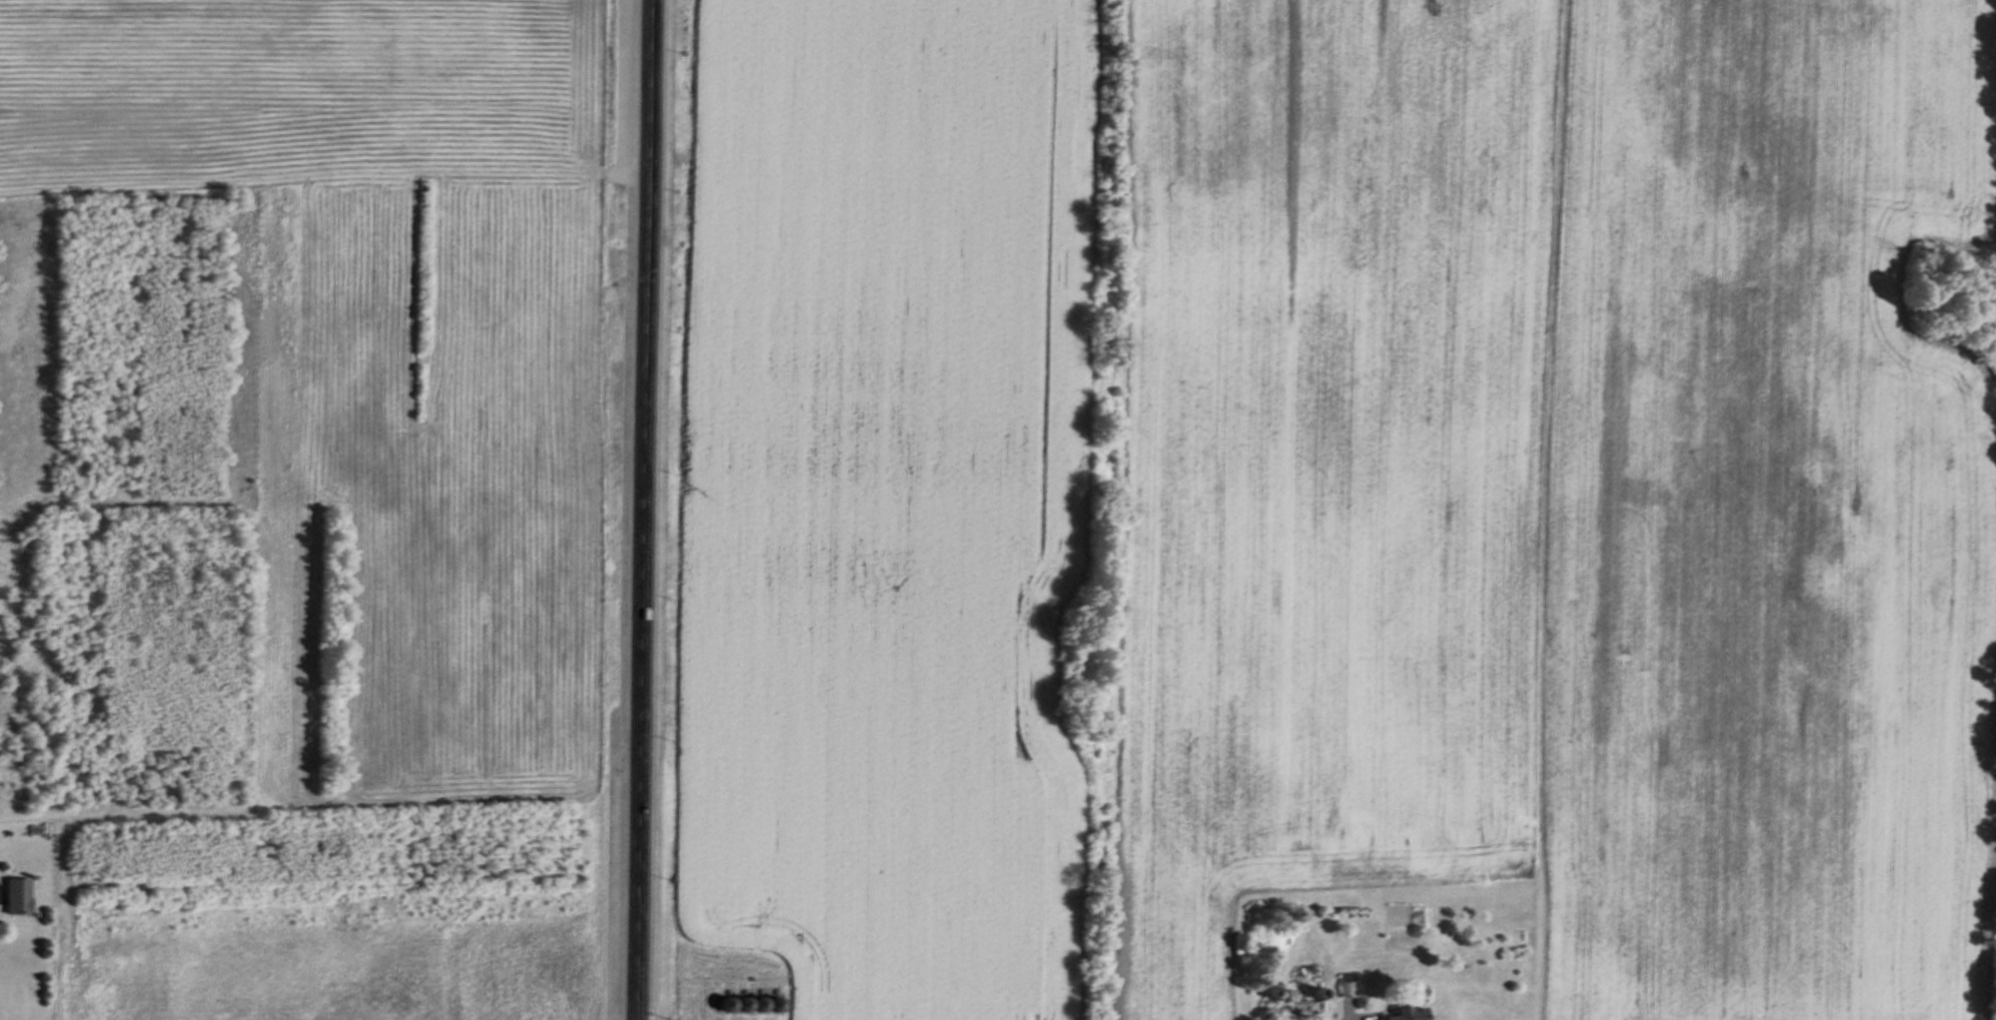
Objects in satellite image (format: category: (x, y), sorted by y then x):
crop: (1344, 492)
road: (645, 510)
building: (19, 899)
building: (1348, 986)
building: (1414, 1014)

